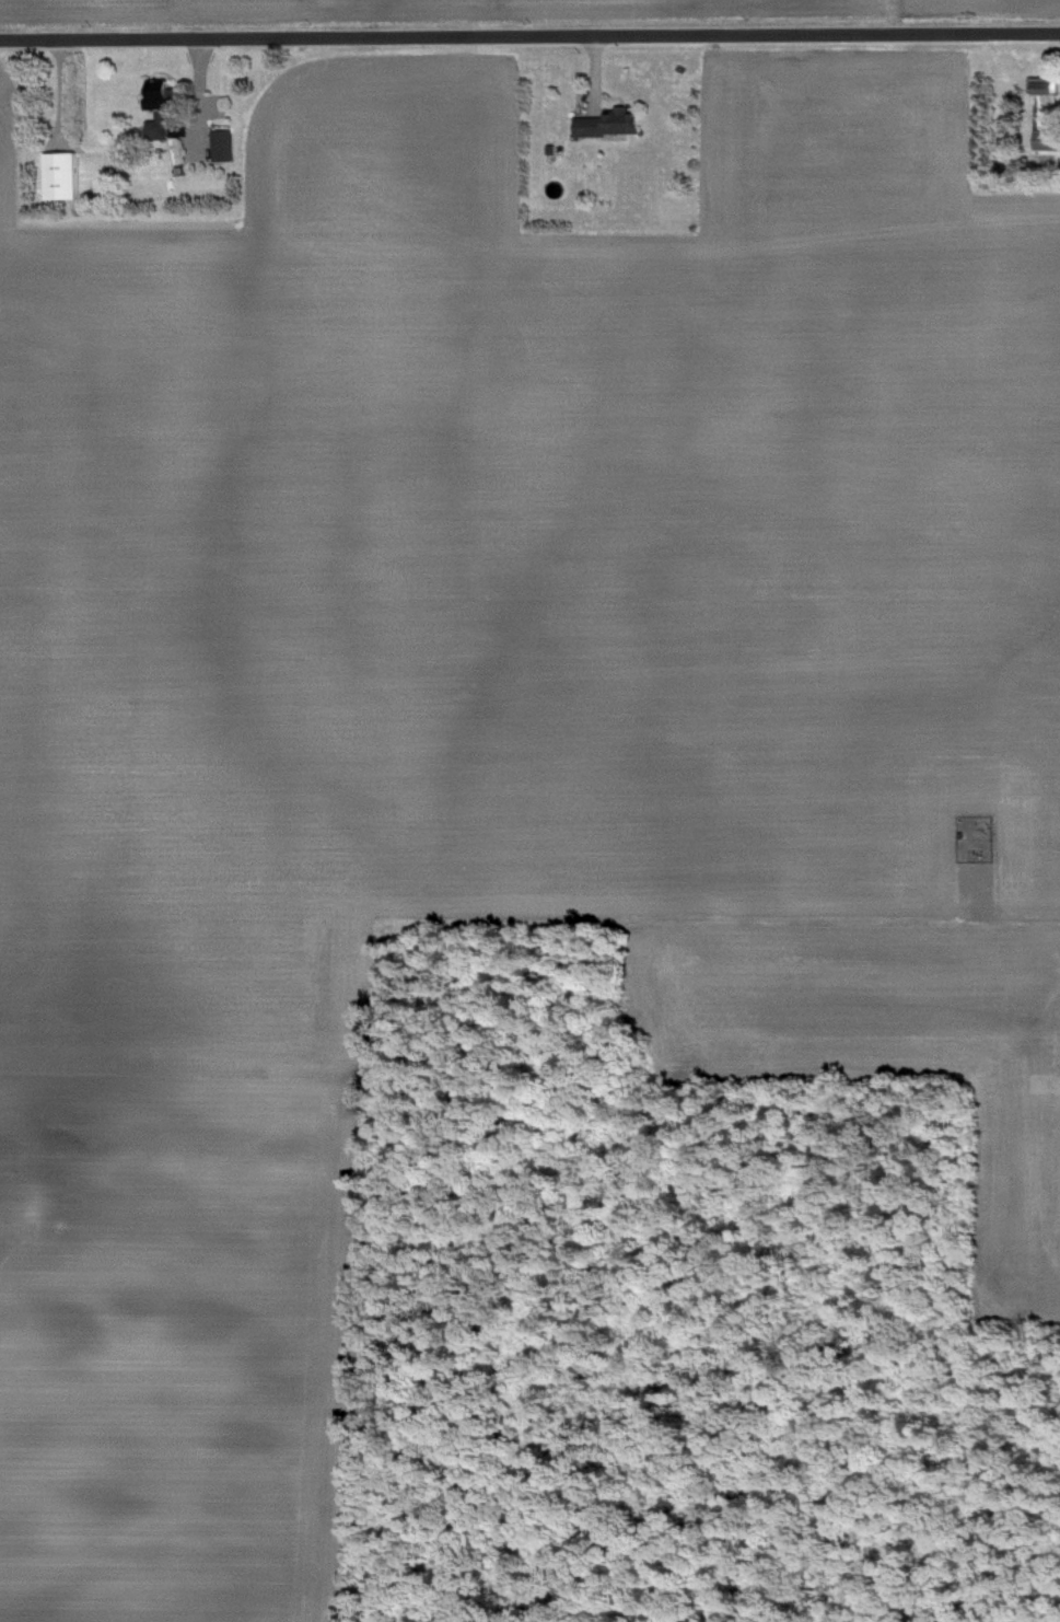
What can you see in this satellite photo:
road: (529, 36)
building: (1039, 107)
road: (198, 112)
building: (156, 113)
building: (604, 123)
building: (219, 143)
building: (57, 174)
road: (989, 914)

